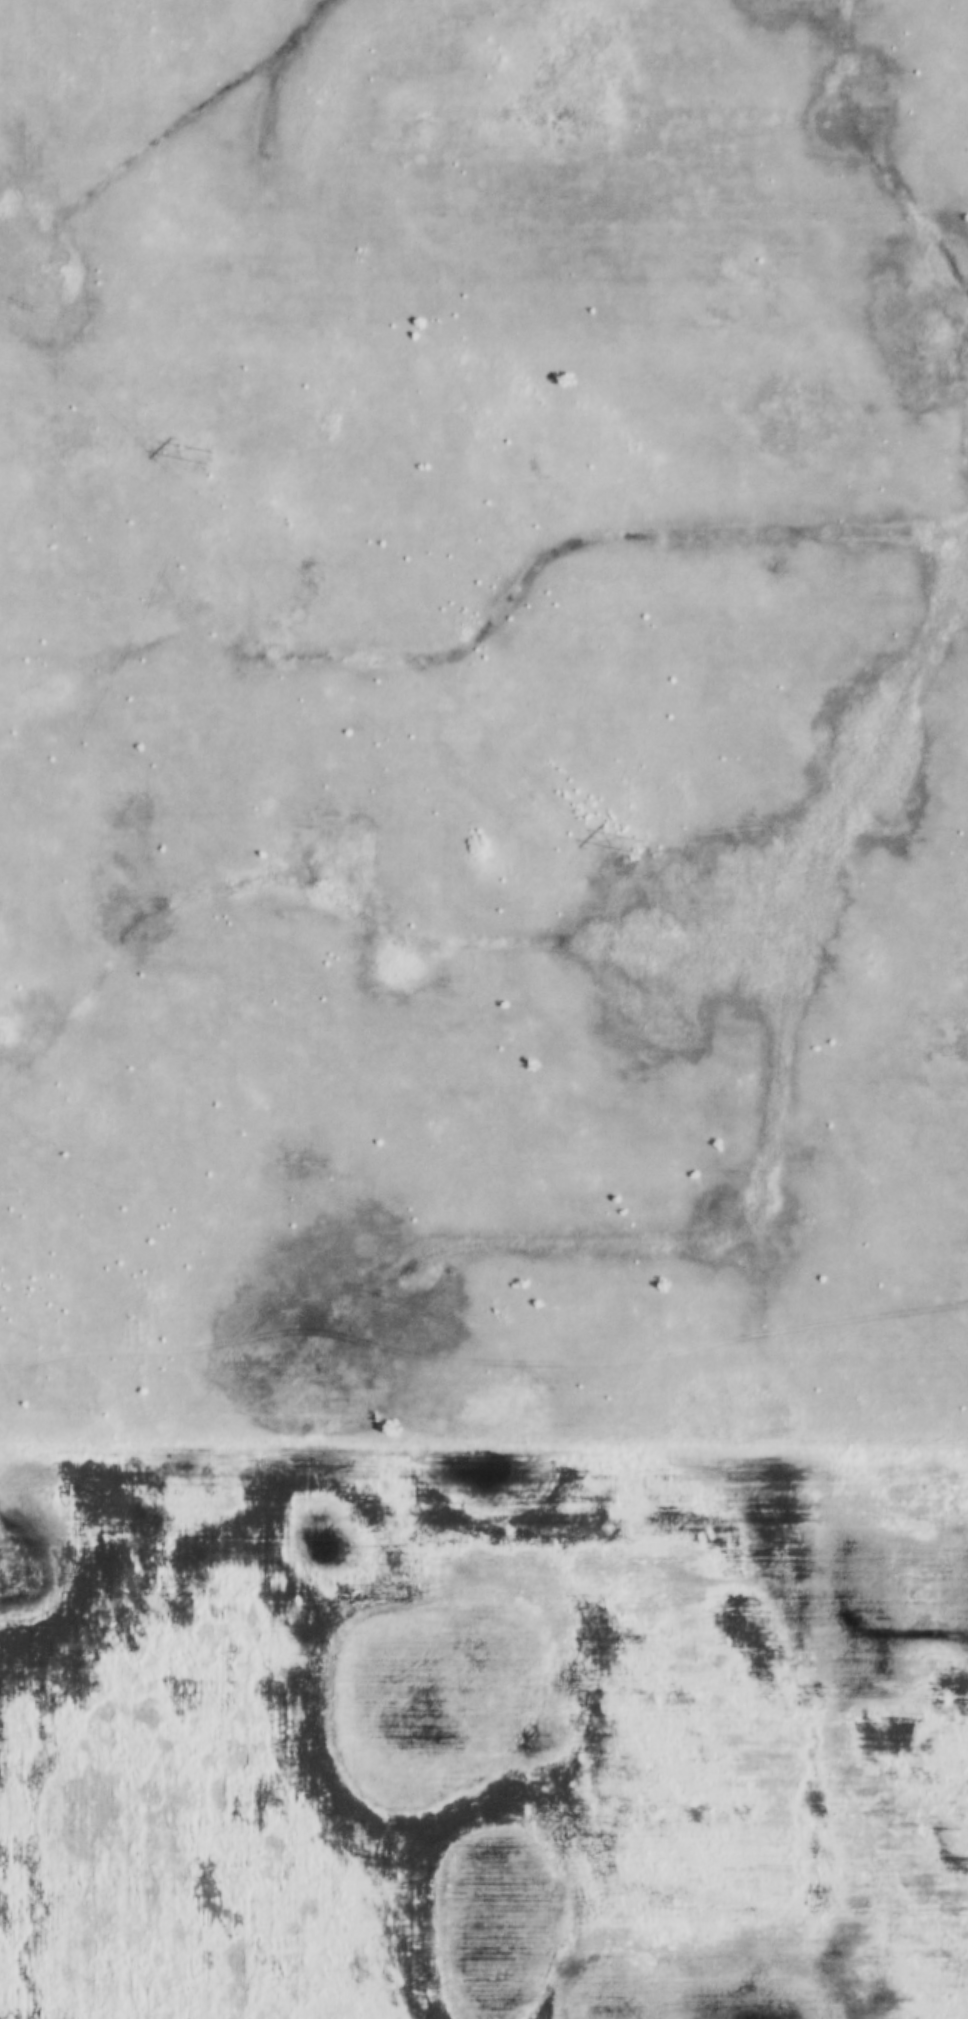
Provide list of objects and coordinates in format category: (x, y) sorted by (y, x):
power tower: (210, 457)
power tower: (636, 844)

